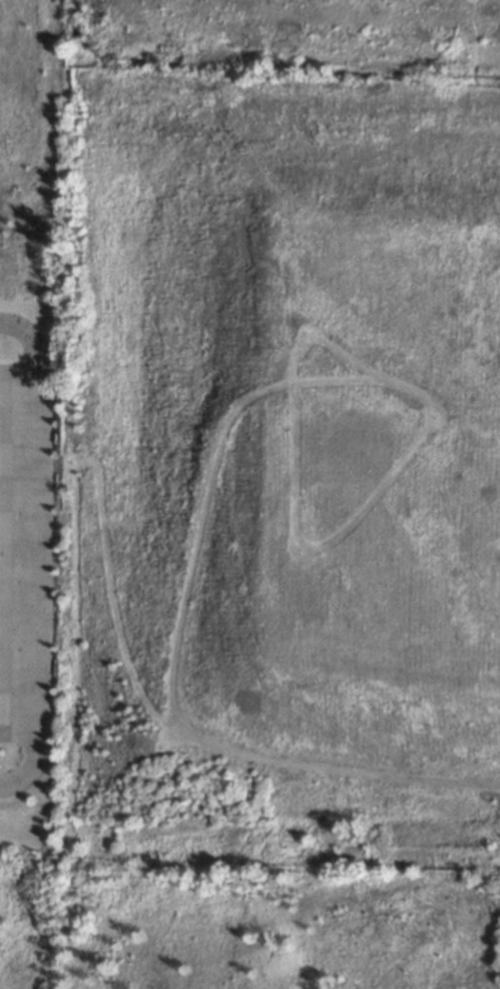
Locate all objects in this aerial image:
road: (33, 550)

